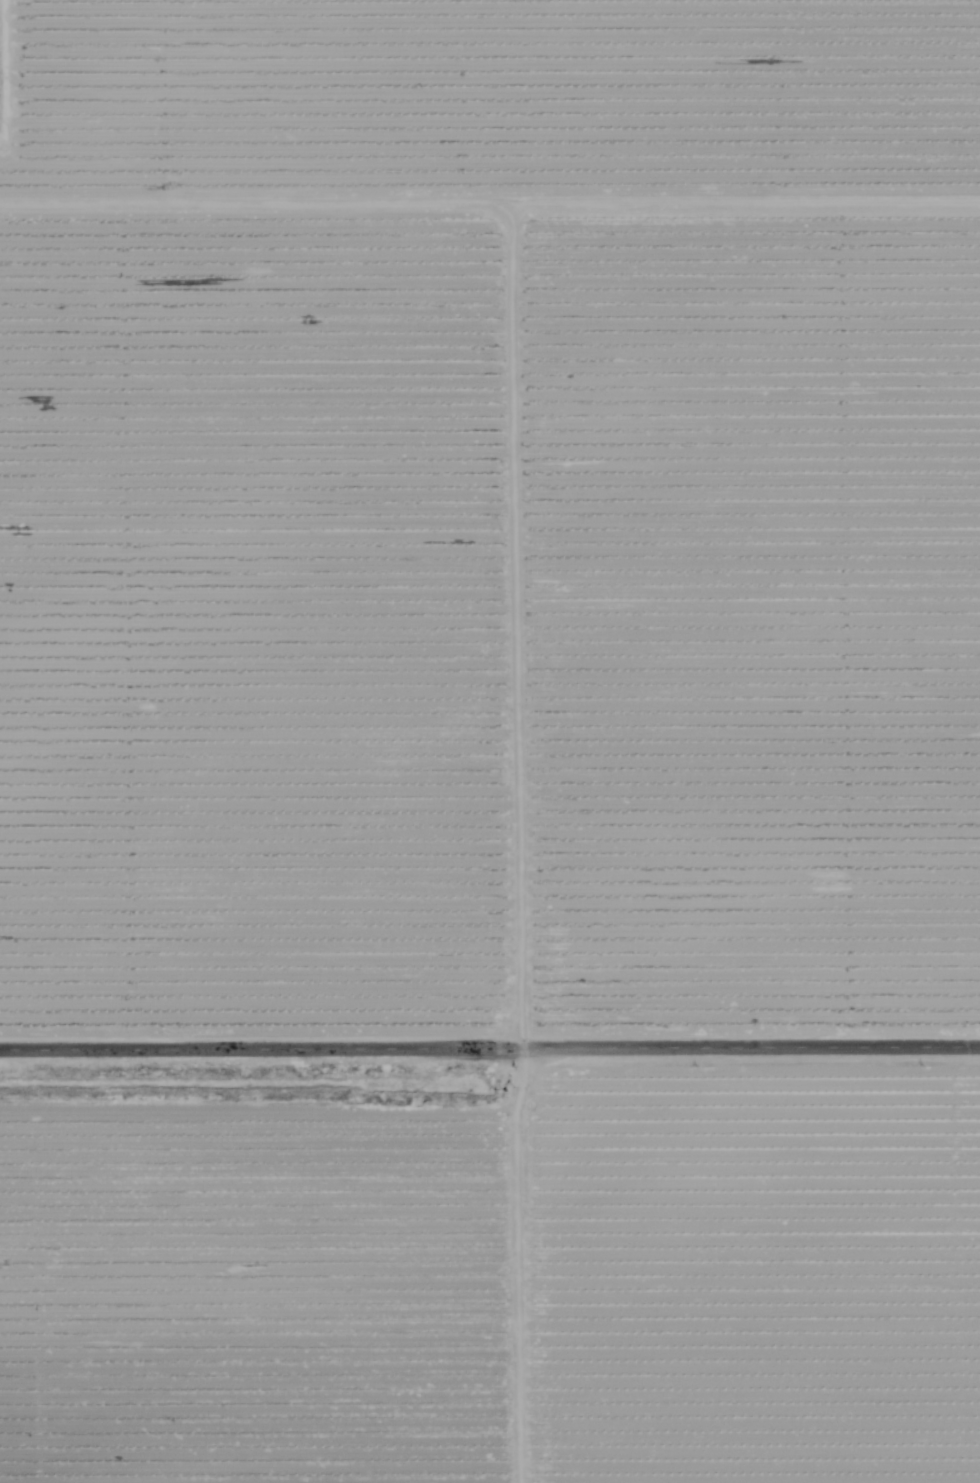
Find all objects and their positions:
road: (511, 397)
road: (489, 1052)

